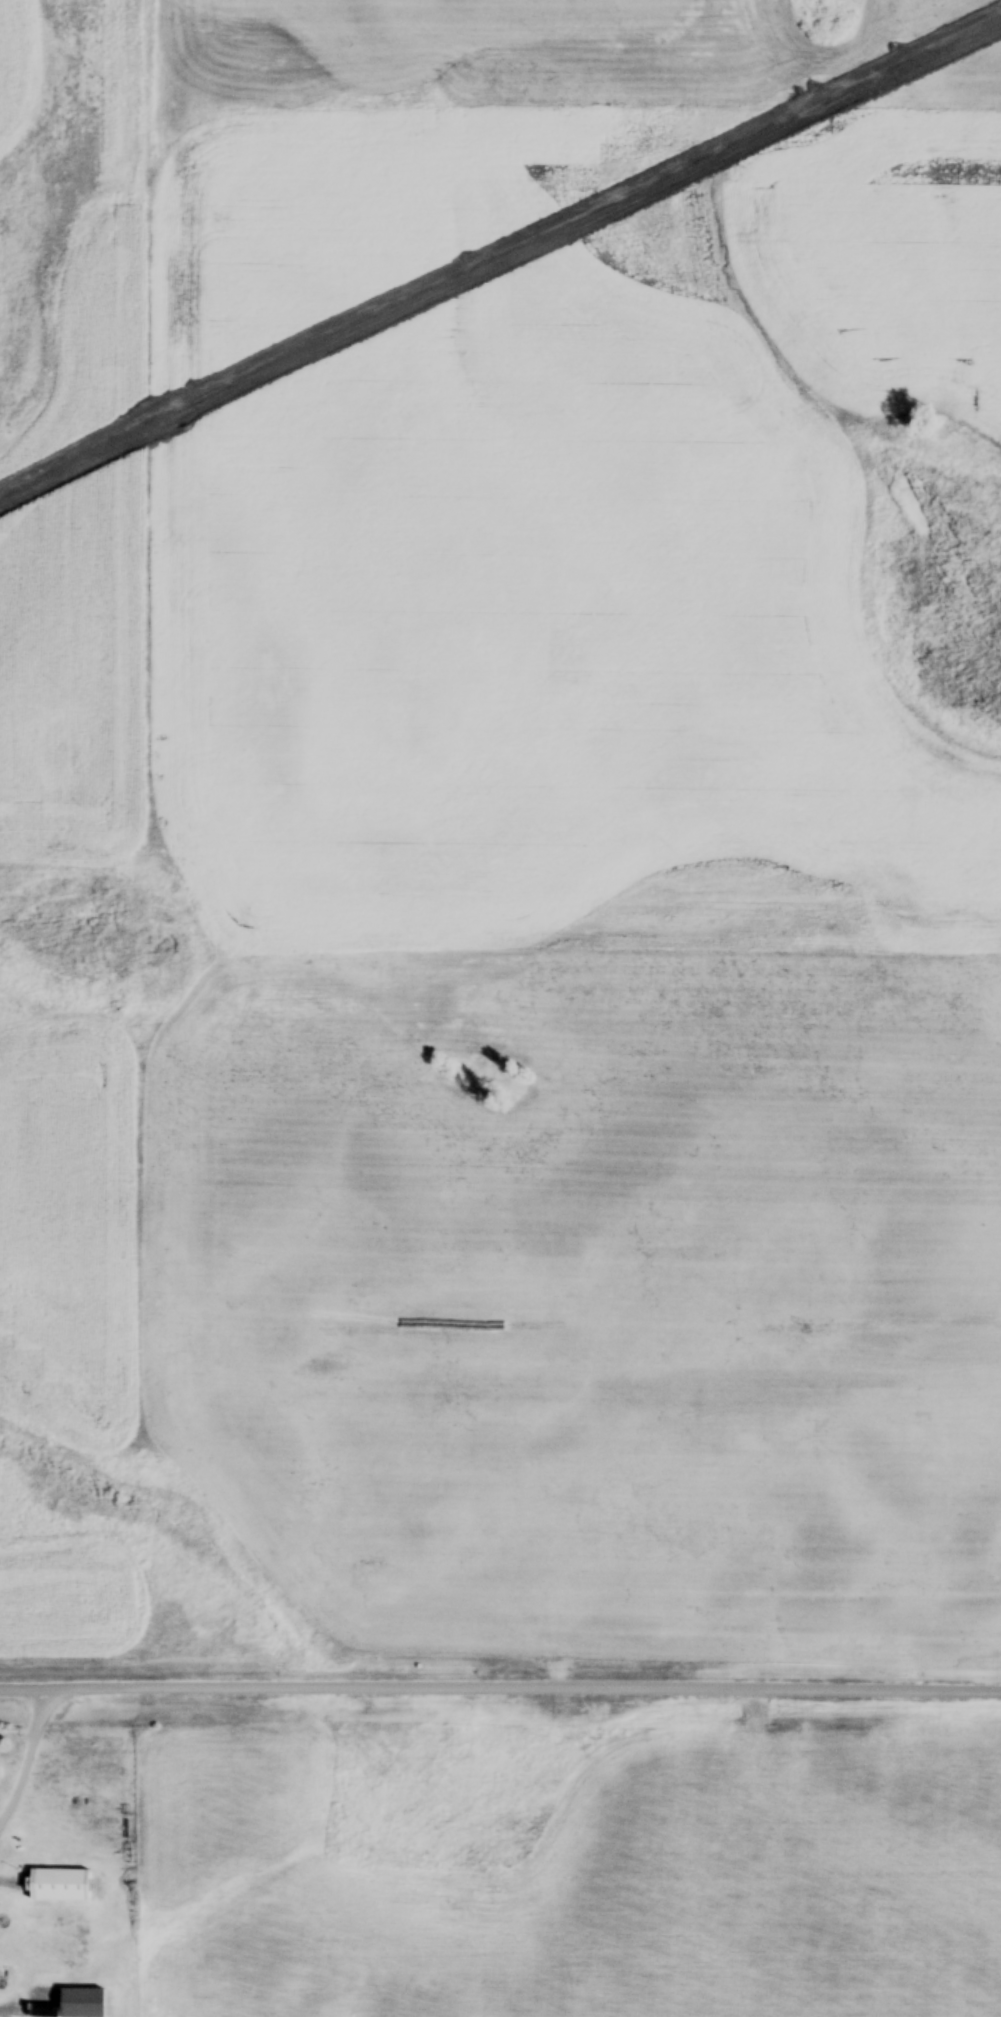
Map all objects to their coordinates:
road: (500, 1684)
road: (31, 1755)
building: (61, 1887)
building: (83, 2003)

